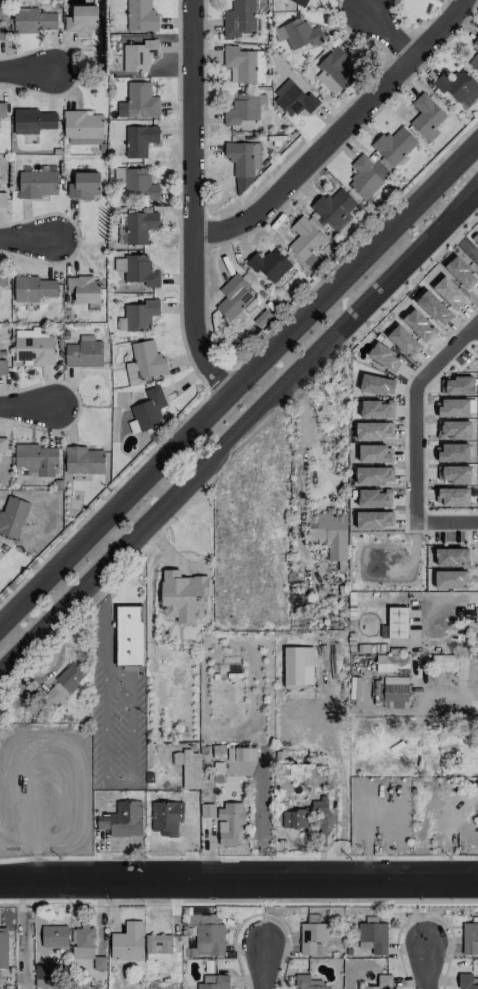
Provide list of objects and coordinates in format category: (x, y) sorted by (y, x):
building: (299, 2)
building: (140, 16)
building: (31, 19)
building: (81, 19)
building: (241, 19)
road: (384, 26)
building: (299, 33)
building: (2, 34)
building: (139, 55)
building: (473, 57)
building: (245, 64)
road: (22, 71)
building: (333, 71)
building: (459, 88)
building: (294, 99)
building: (141, 100)
building: (244, 109)
building: (2, 111)
building: (426, 117)
building: (32, 121)
building: (82, 124)
road: (333, 130)
building: (139, 140)
building: (394, 145)
building: (243, 157)
building: (363, 177)
building: (36, 184)
building: (138, 184)
building: (84, 185)
building: (3, 199)
road: (191, 204)
building: (334, 209)
building: (140, 226)
building: (304, 239)
road: (460, 241)
road: (21, 242)
building: (269, 264)
building: (137, 270)
building: (2, 278)
building: (32, 288)
building: (83, 289)
building: (233, 296)
road: (385, 301)
building: (140, 315)
building: (33, 347)
building: (83, 352)
building: (2, 362)
road: (240, 390)
road: (27, 407)
building: (147, 411)
road: (238, 429)
road: (417, 437)
building: (3, 445)
road: (297, 449)
building: (35, 460)
building: (83, 460)
building: (12, 516)
building: (328, 532)
building: (452, 556)
building: (449, 579)
building: (182, 595)
road: (435, 600)
building: (476, 615)
building: (397, 622)
road: (103, 627)
building: (129, 635)
building: (389, 663)
building: (444, 663)
building: (63, 684)
building: (393, 692)
building: (241, 754)
building: (192, 761)
road: (130, 780)
building: (303, 814)
building: (166, 817)
building: (122, 819)
building: (229, 823)
road: (238, 879)
road: (20, 933)
building: (207, 934)
building: (373, 935)
building: (53, 936)
building: (312, 937)
building: (470, 938)
building: (127, 942)
building: (158, 946)
building: (190, 946)
building: (86, 947)
building: (3, 948)
road: (259, 962)
road: (428, 964)
building: (41, 976)
building: (467, 981)
building: (214, 982)
building: (309, 983)
building: (380, 983)

